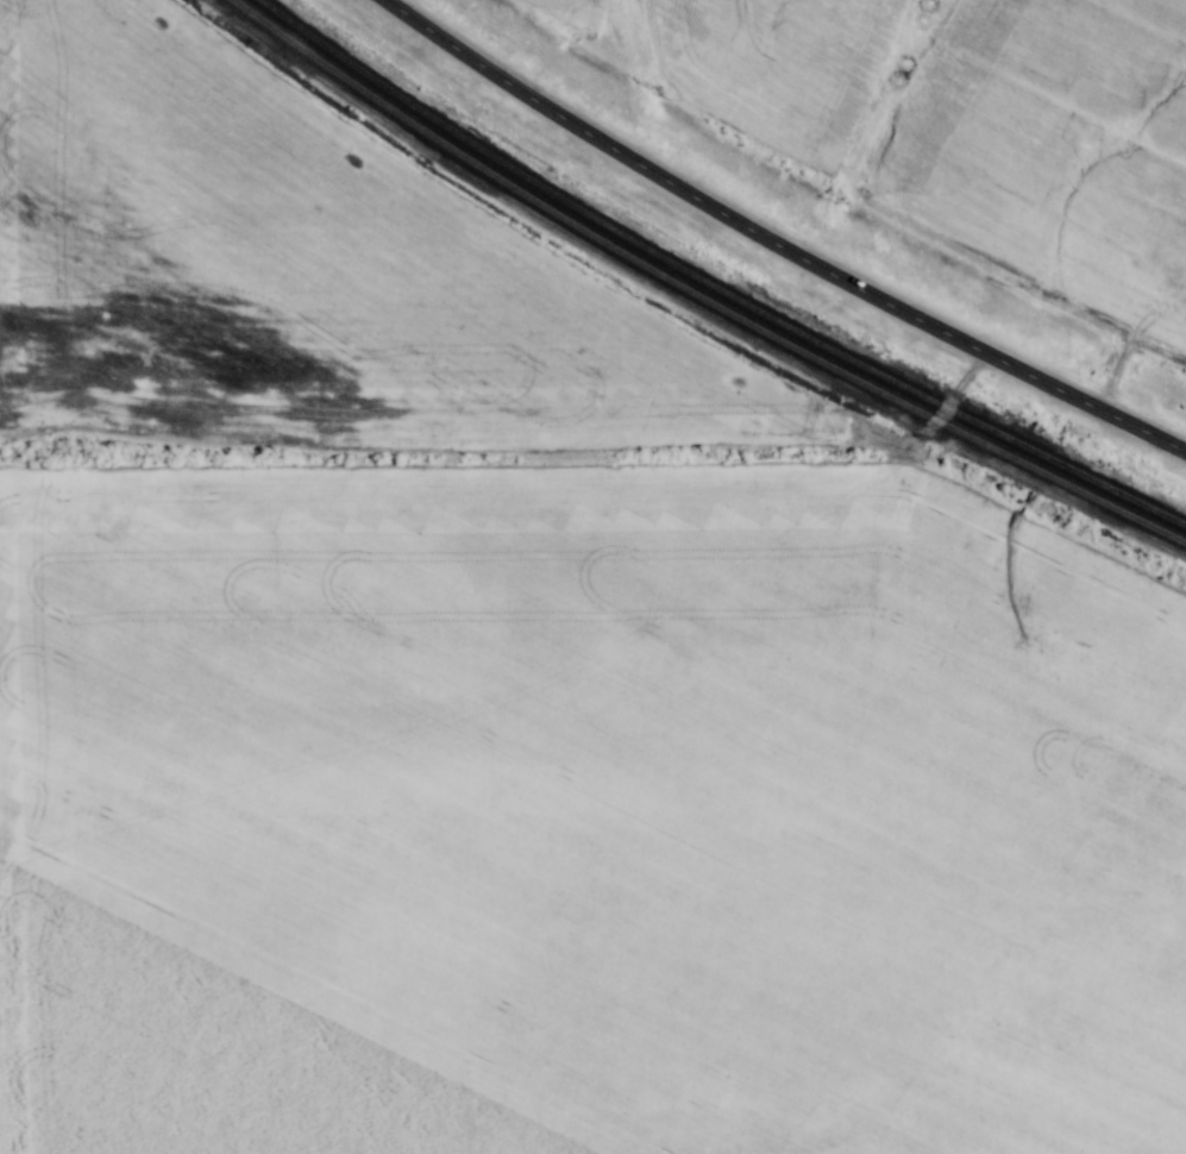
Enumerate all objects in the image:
road: (771, 247)
railway: (710, 284)
railway: (696, 293)

